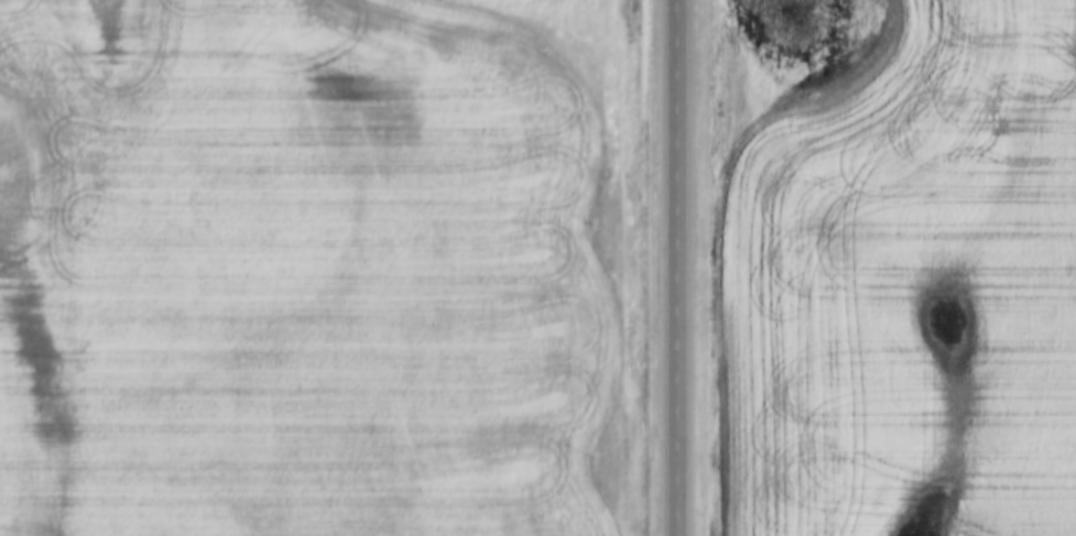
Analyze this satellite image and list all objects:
road: (675, 267)

